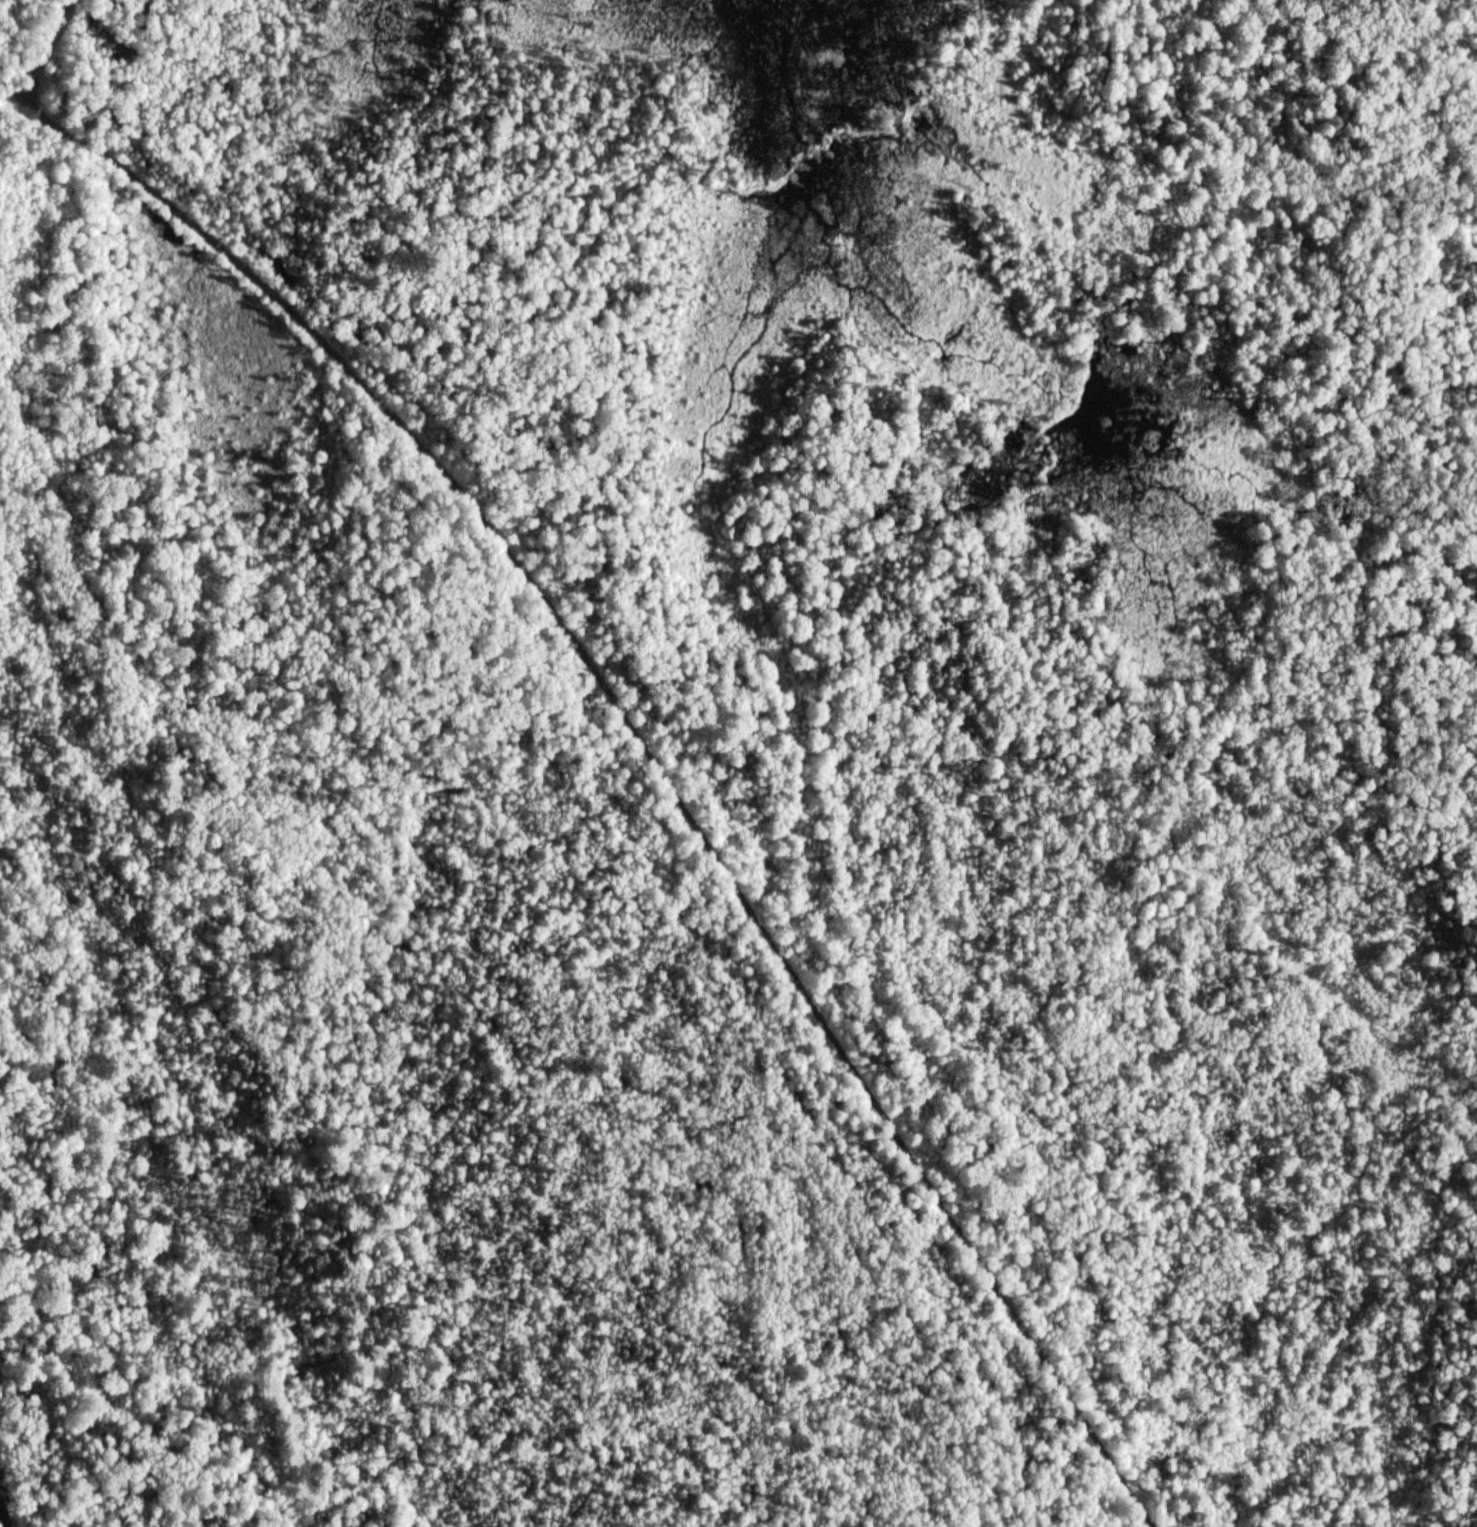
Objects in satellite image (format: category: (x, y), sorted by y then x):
river: (1, 1521)

